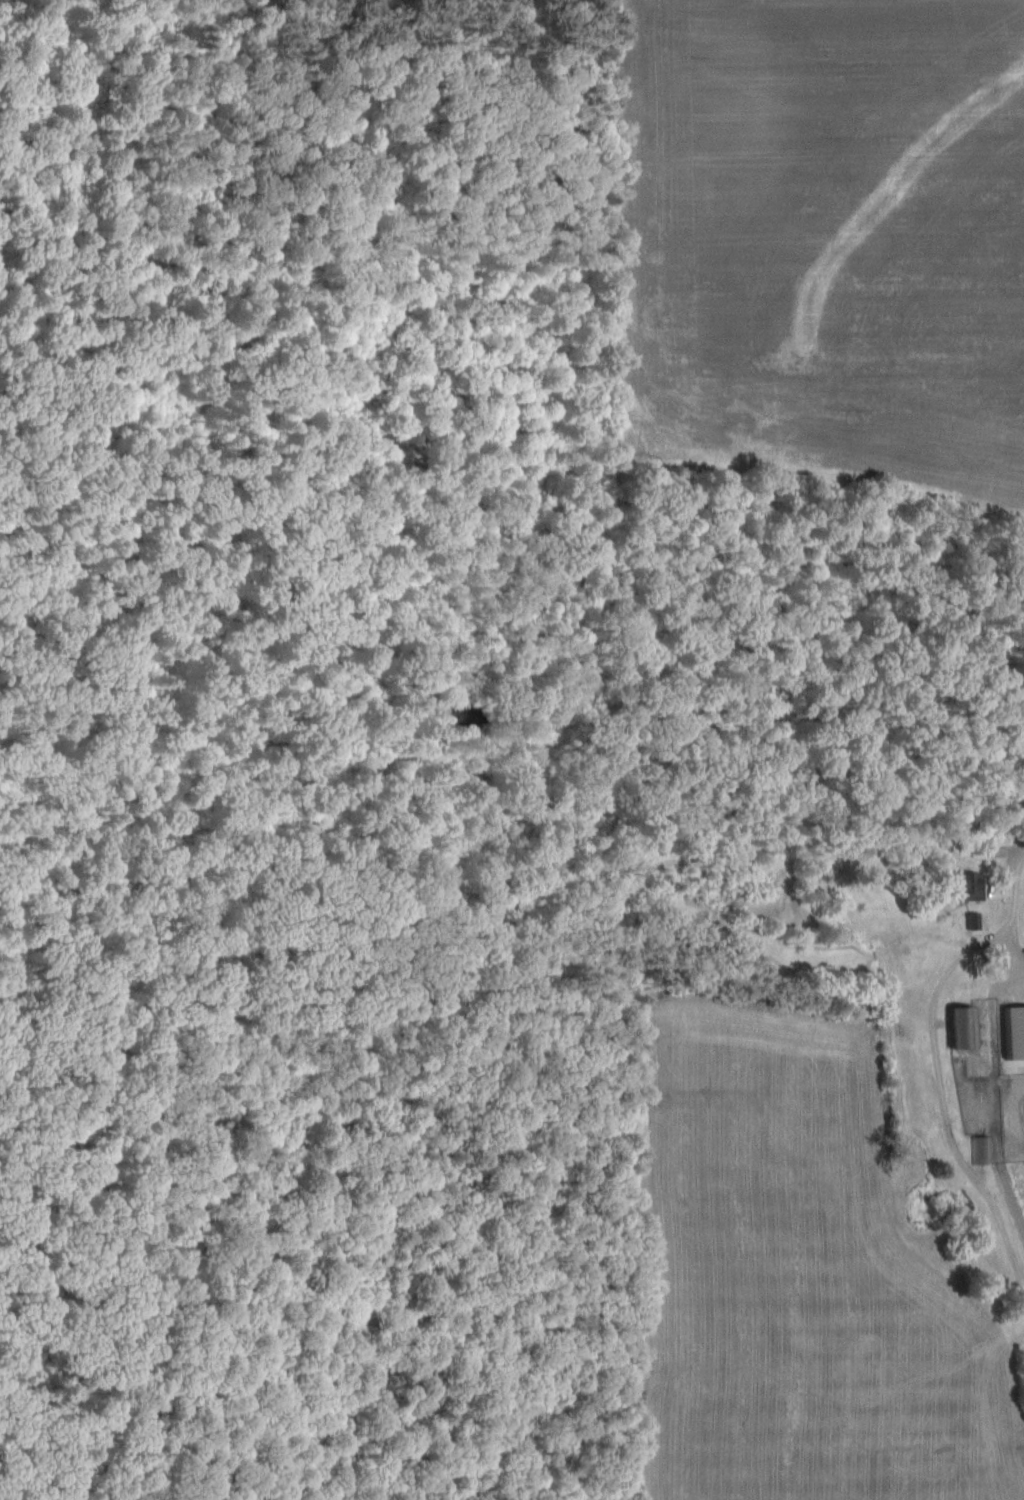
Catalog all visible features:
building: (969, 887)
road: (1014, 890)
building: (957, 1028)
building: (1011, 1033)
building: (981, 1151)

